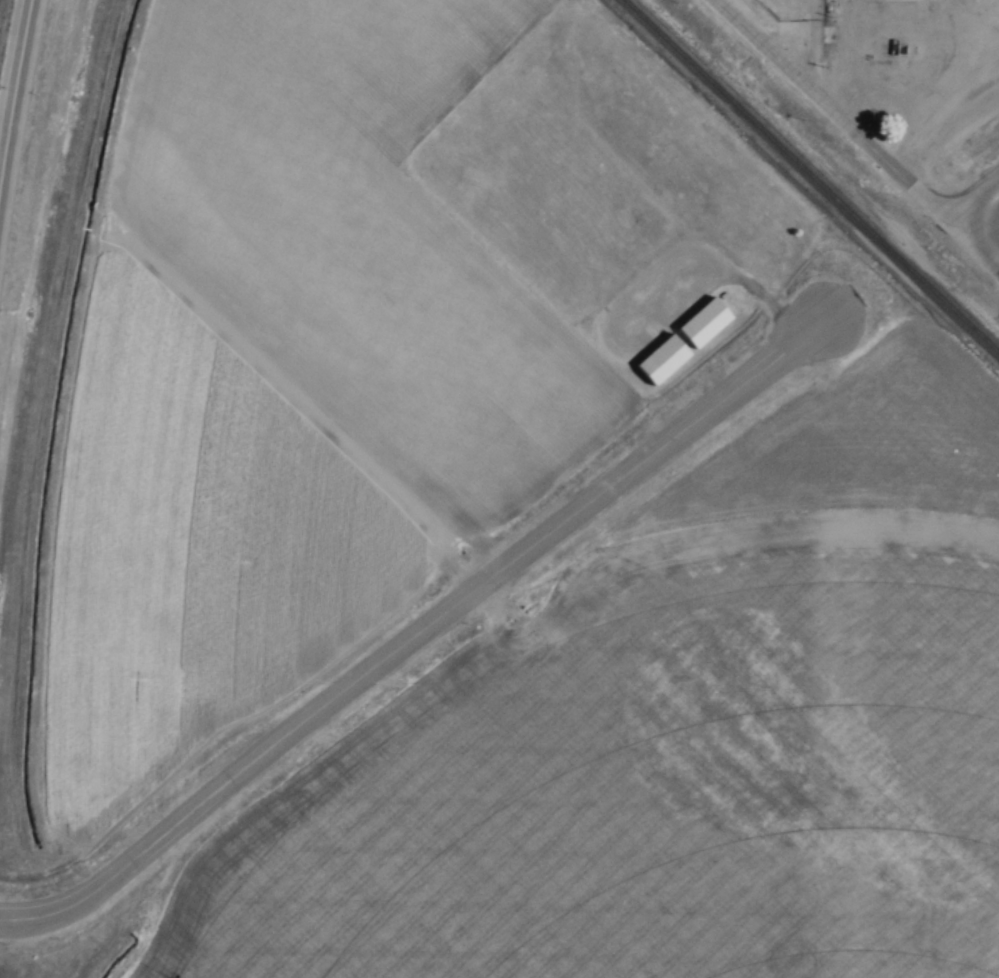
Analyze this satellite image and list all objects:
road: (14, 89)
road: (951, 95)
road: (829, 108)
street lamp: (962, 152)
railway: (812, 175)
road: (972, 195)
road: (984, 225)
road: (971, 242)
building: (708, 327)
building: (666, 364)
road: (413, 634)

